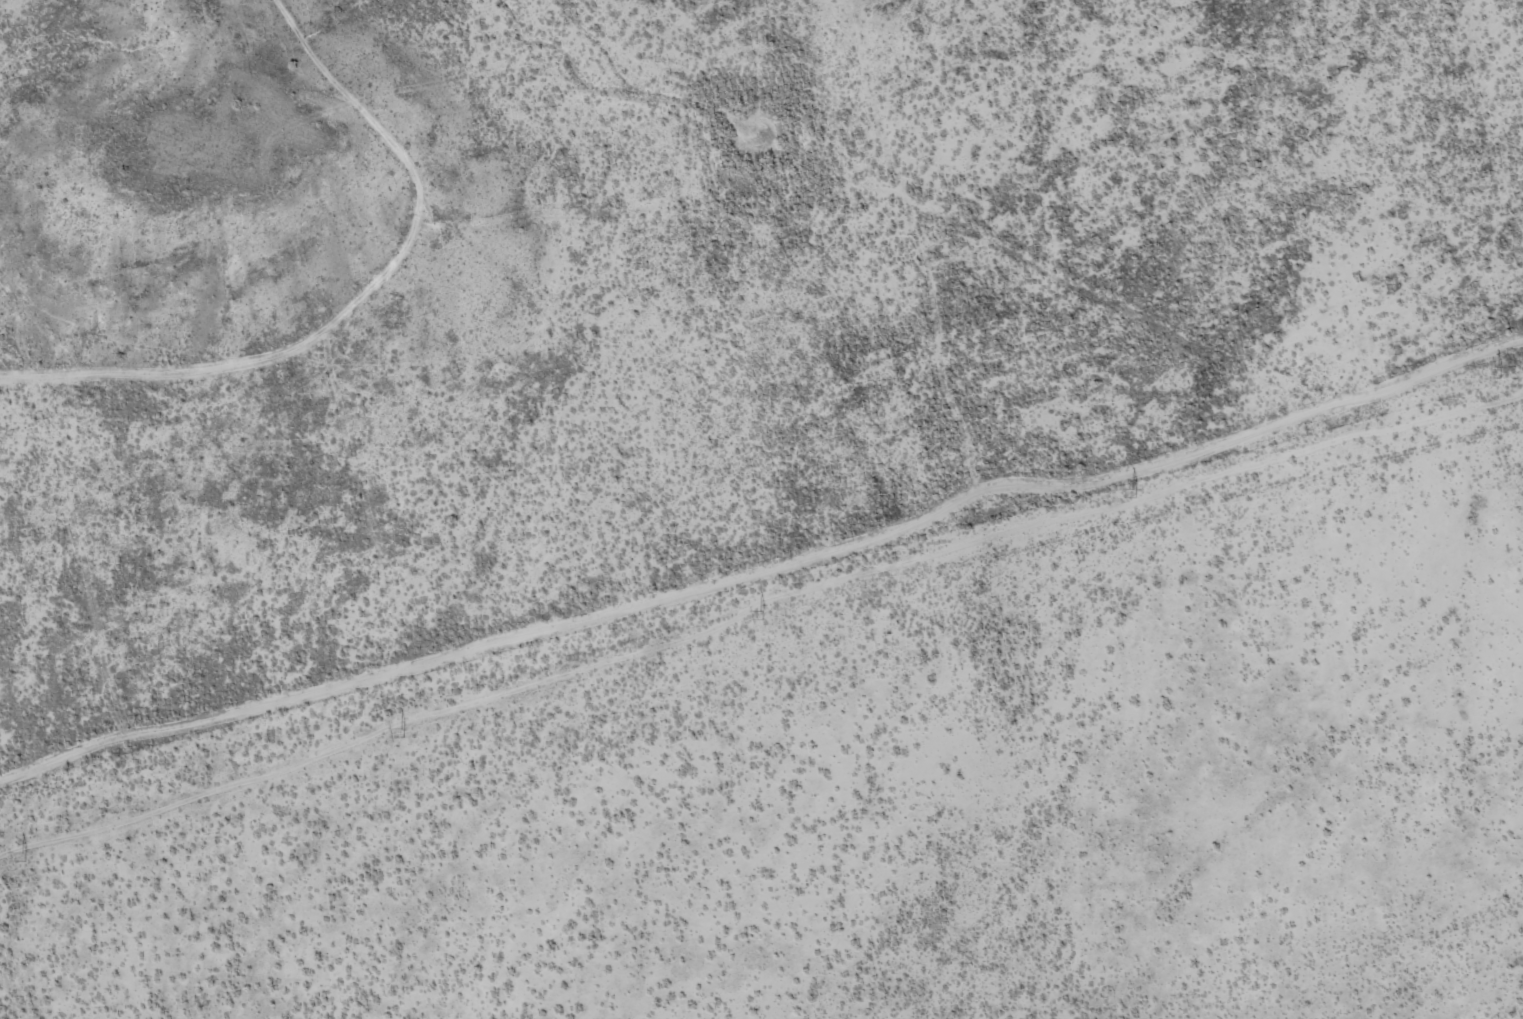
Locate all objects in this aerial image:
power tower: (1495, 369)
power tower: (1131, 492)
power tower: (759, 616)
power tower: (400, 732)
power tower: (21, 856)

